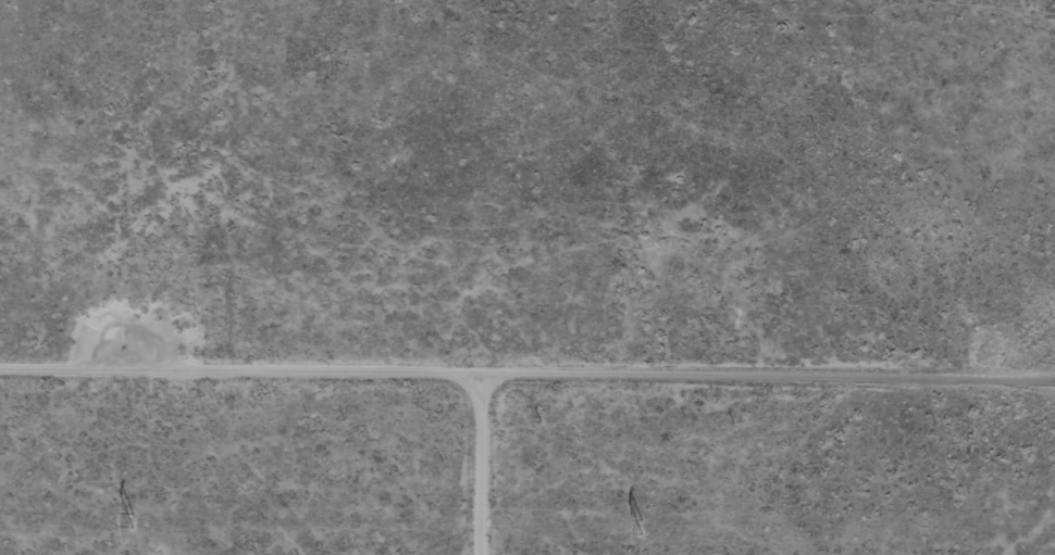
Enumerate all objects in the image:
power tower: (134, 517)
power tower: (642, 524)

